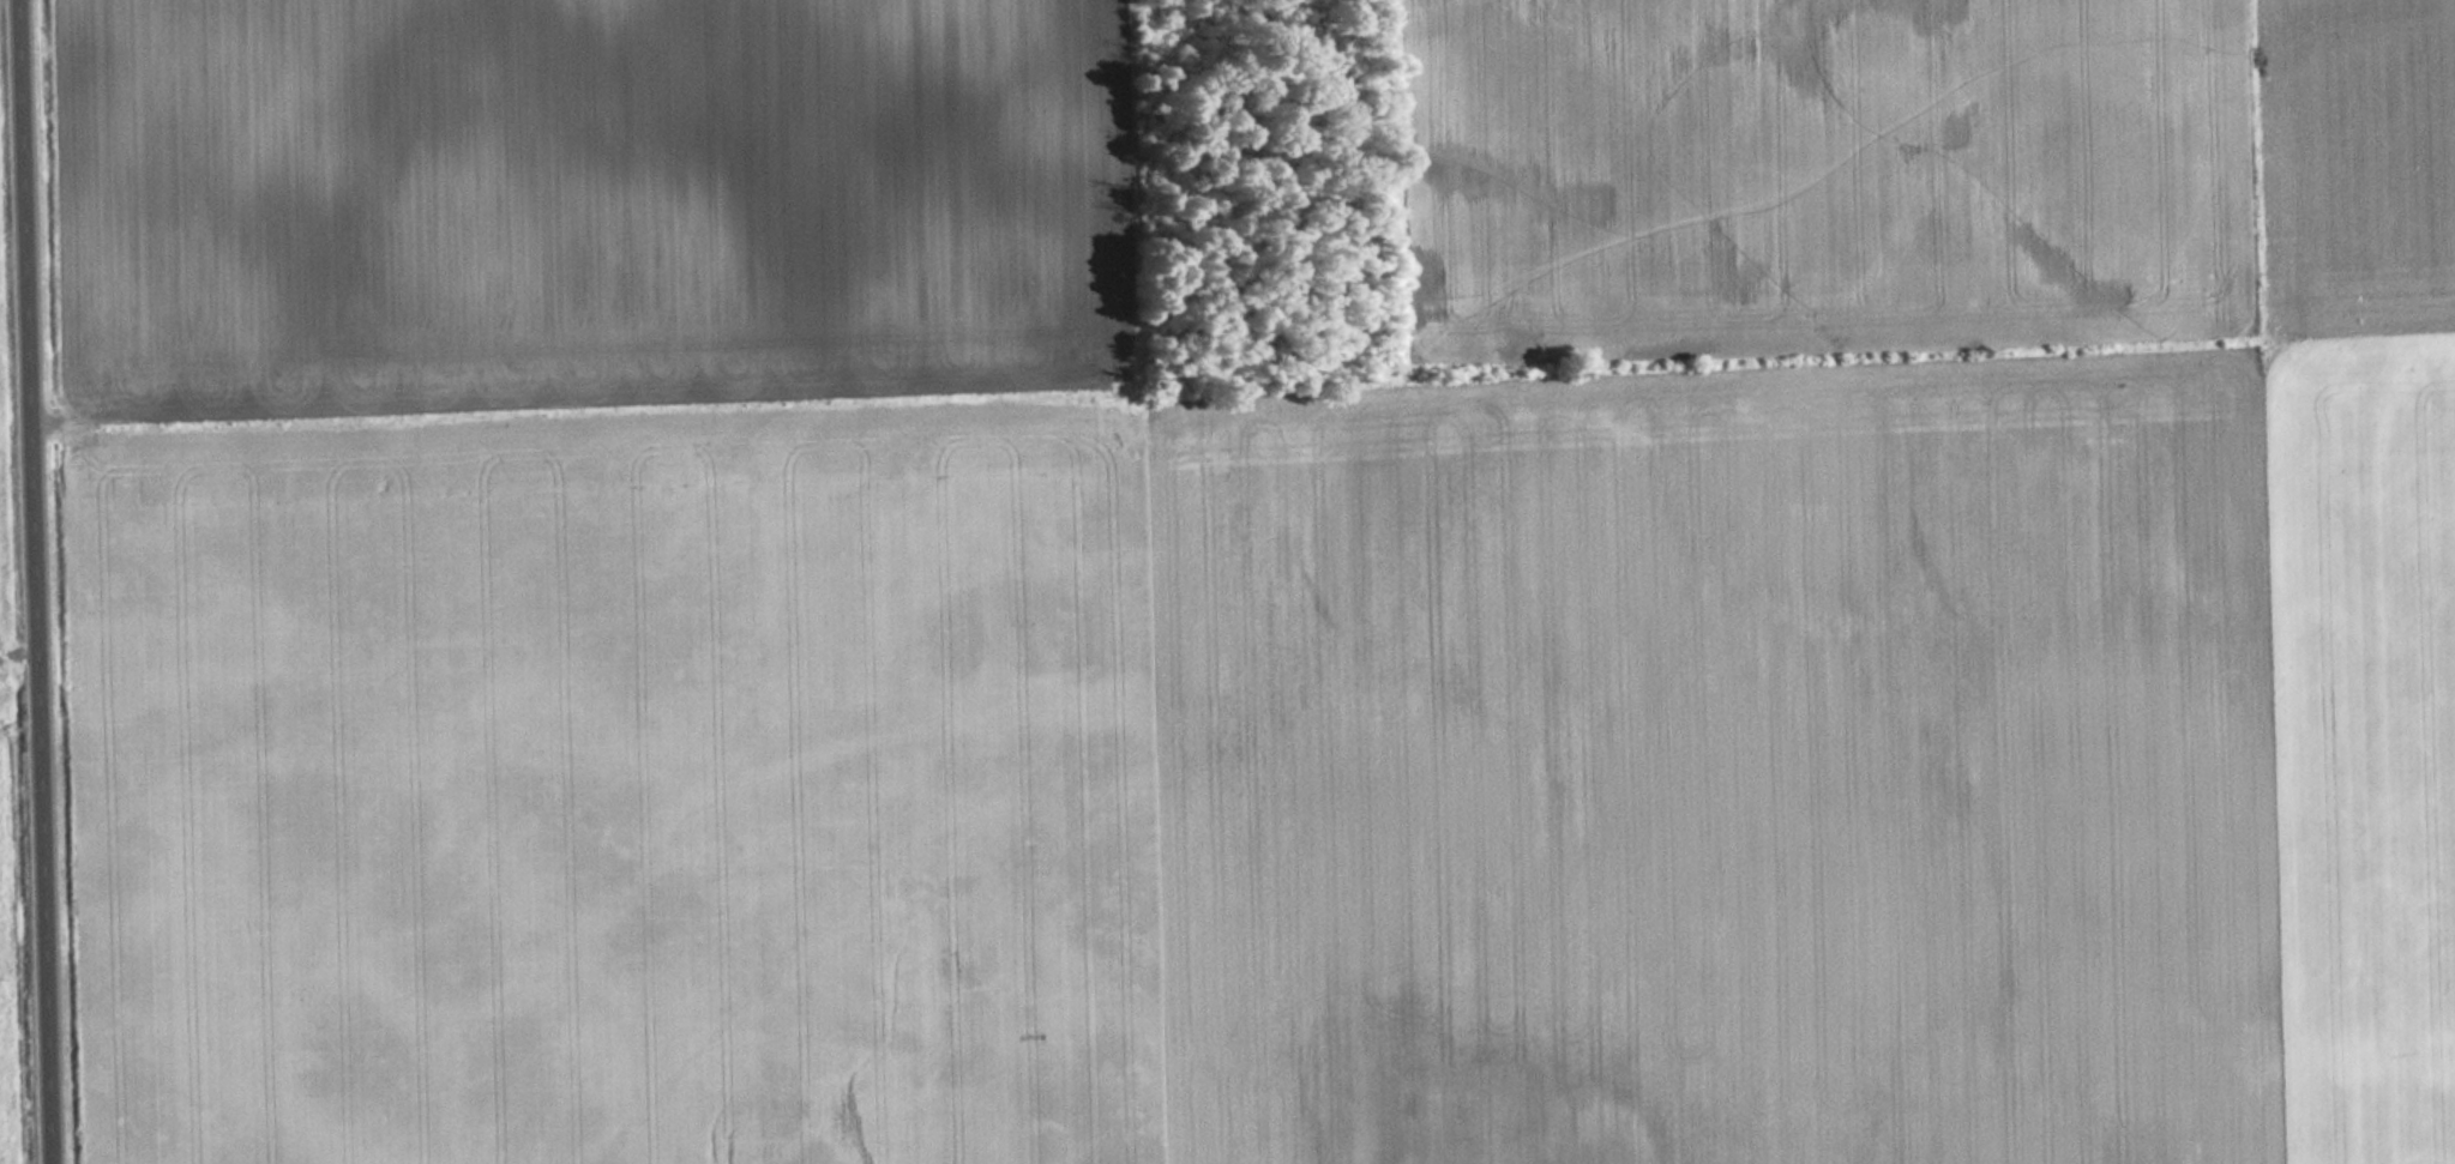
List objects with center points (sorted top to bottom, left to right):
road: (30, 581)

